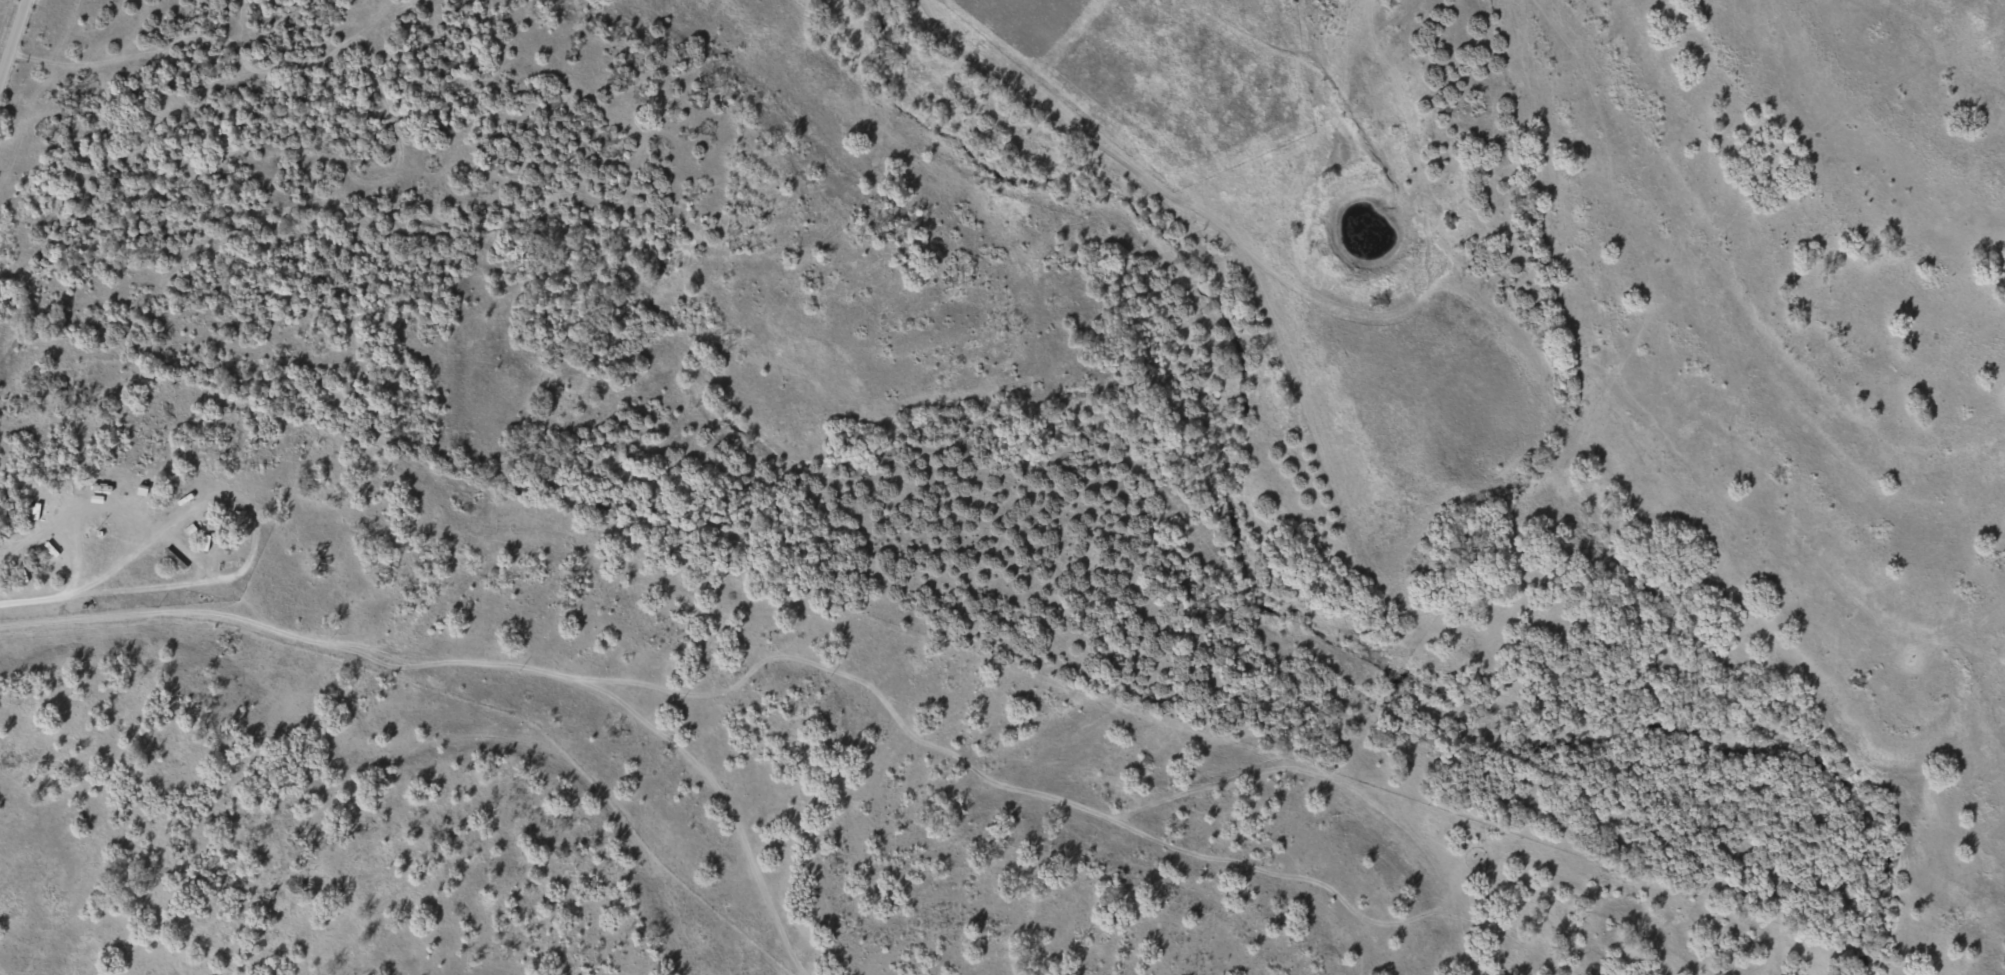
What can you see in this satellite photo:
road: (14, 40)

